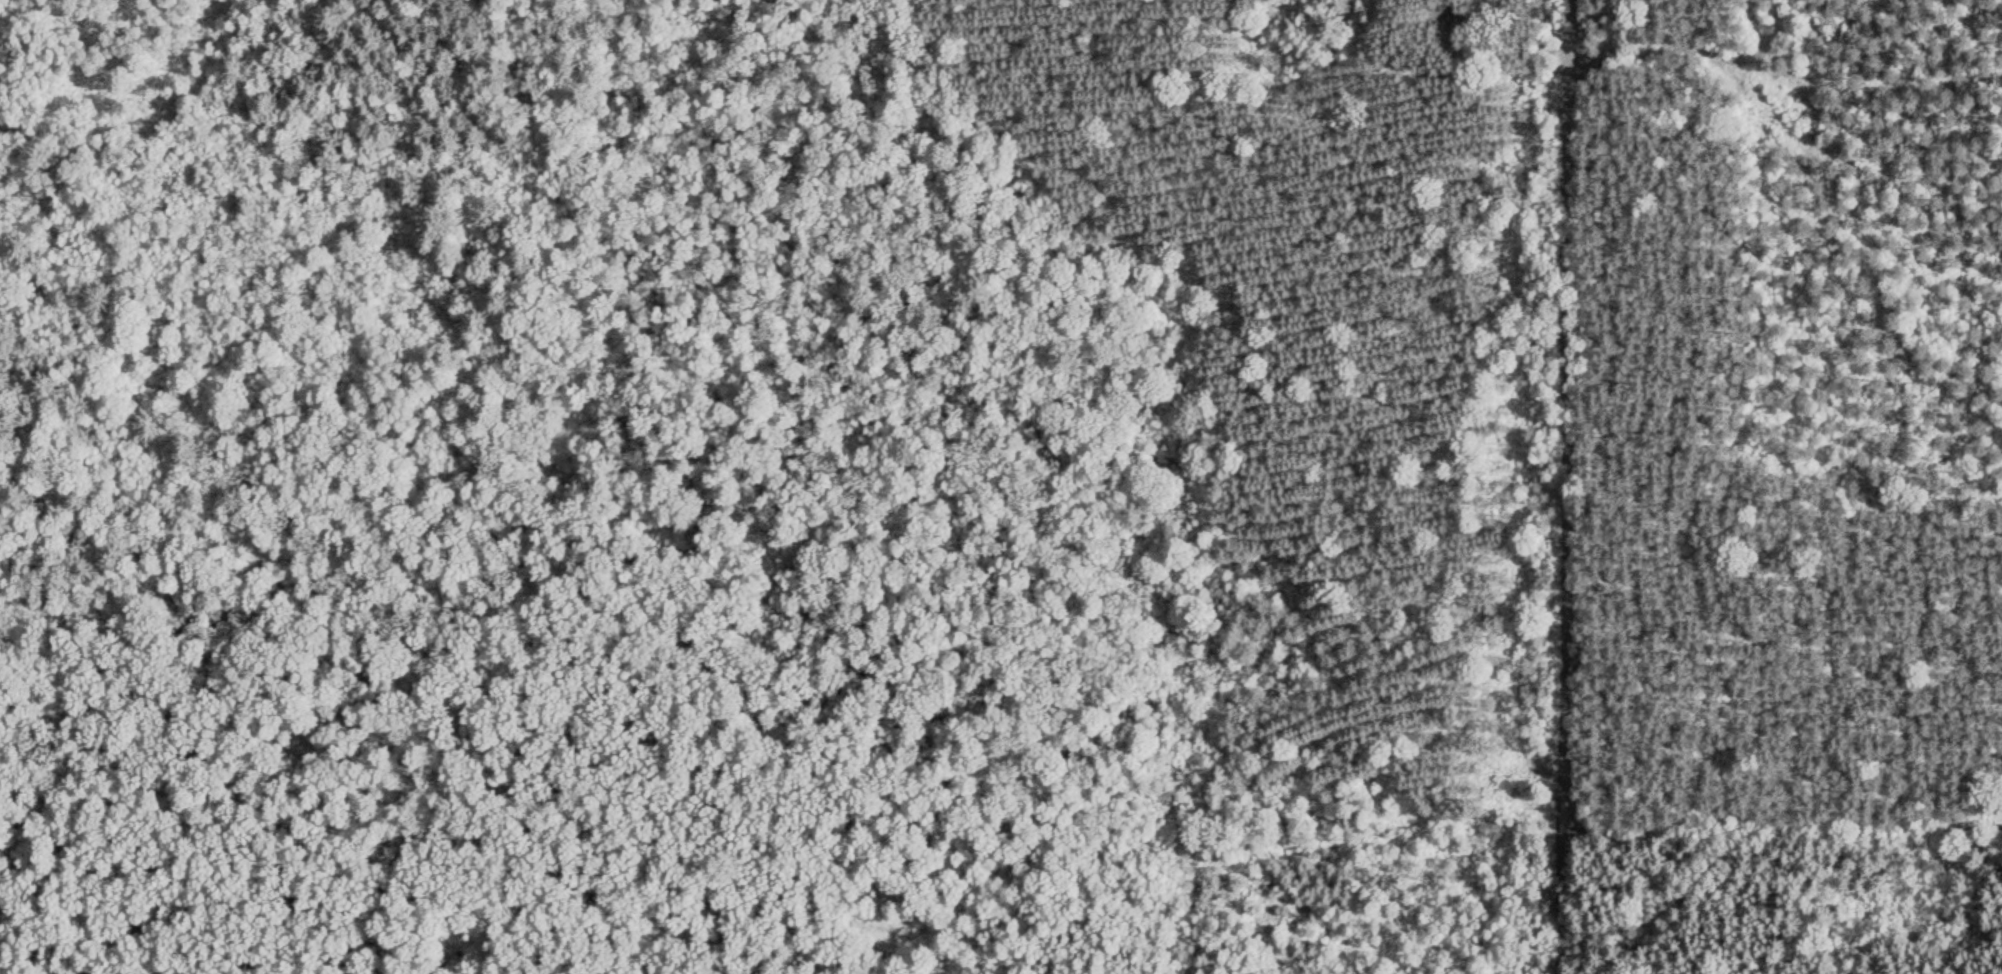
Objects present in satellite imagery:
road: (1556, 487)

